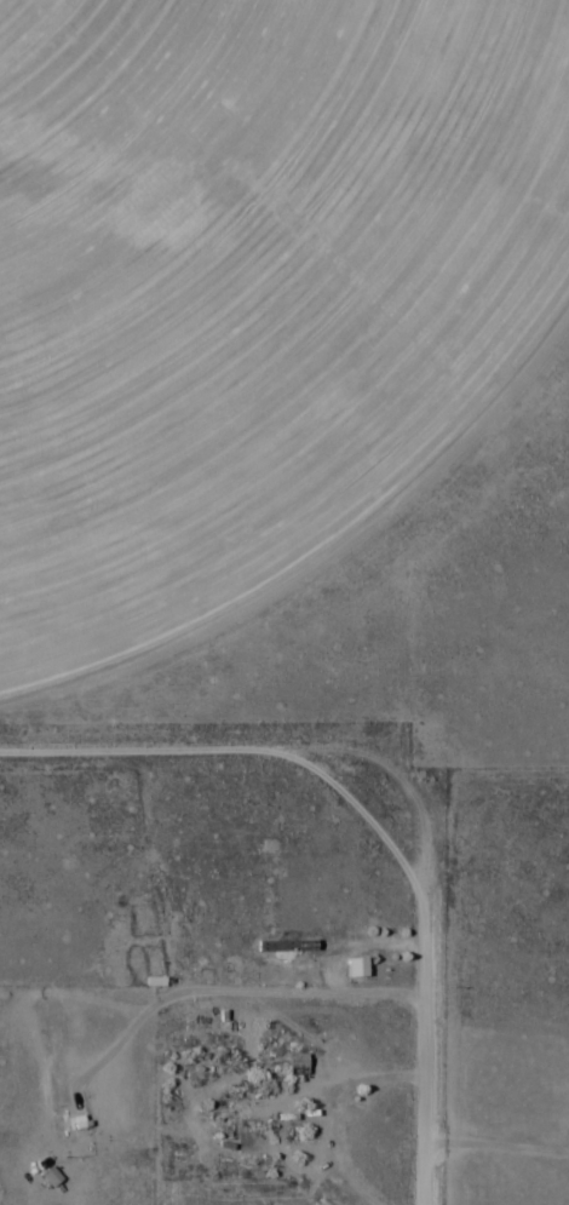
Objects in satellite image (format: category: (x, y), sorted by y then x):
crop: (252, 286)
road: (190, 752)
building: (352, 969)
road: (421, 1000)
road: (268, 1010)
building: (294, 1065)
building: (255, 1115)
building: (76, 1119)

